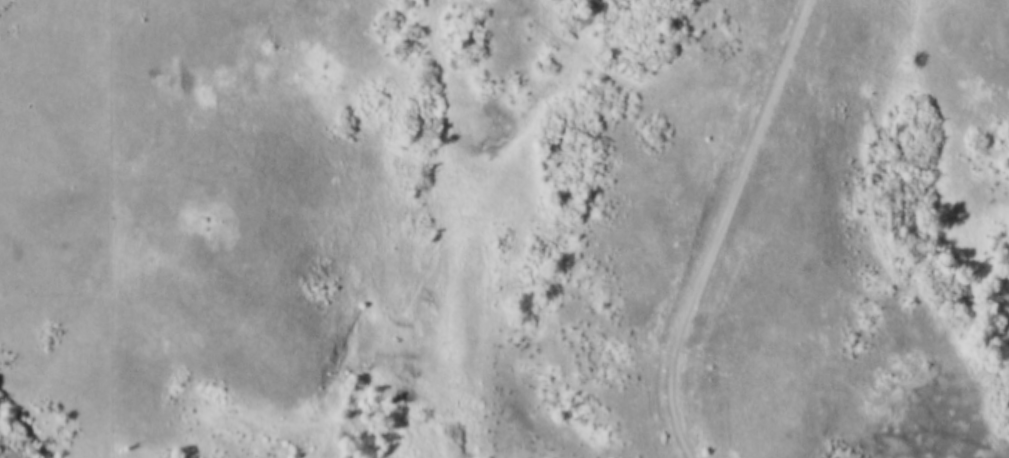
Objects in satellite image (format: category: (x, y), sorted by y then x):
road: (721, 227)

